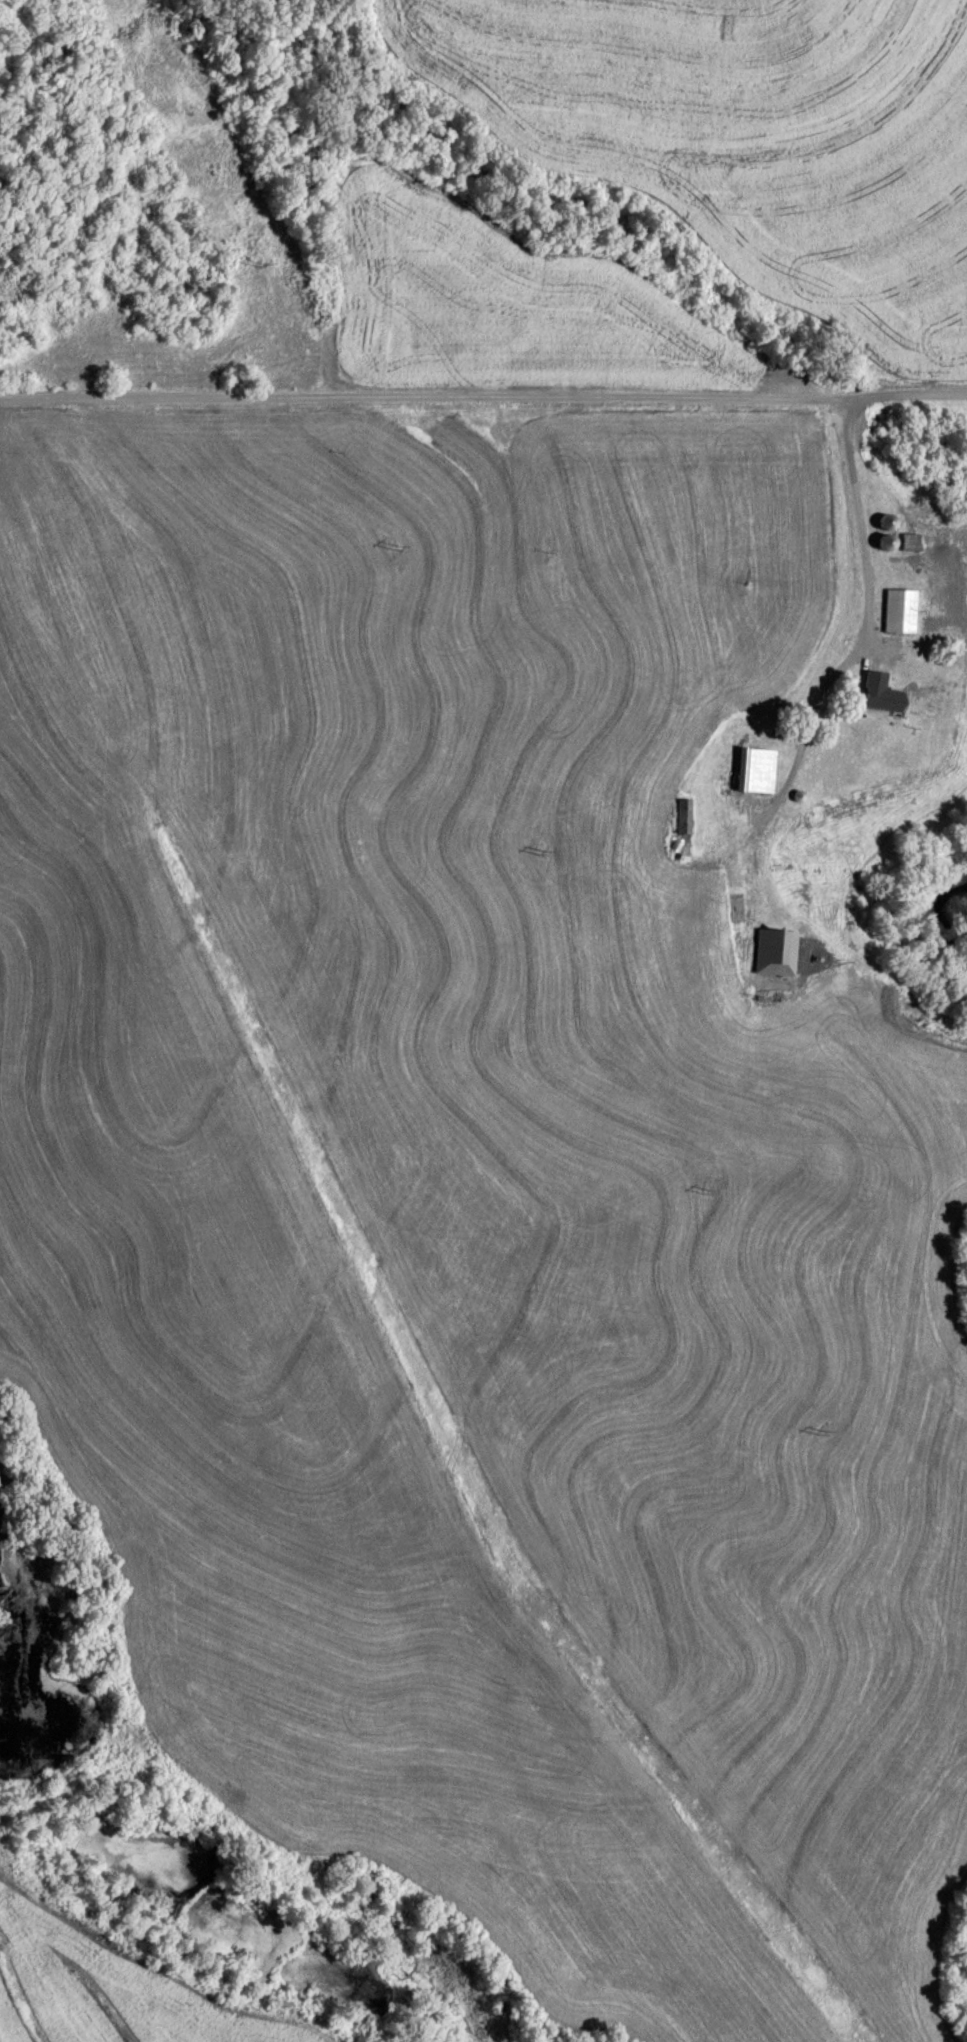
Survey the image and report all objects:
power tower: (260, 261)
road: (483, 392)
building: (883, 519)
building: (883, 538)
building: (907, 539)
power tower: (397, 544)
road: (866, 592)
building: (897, 607)
building: (753, 766)
building: (681, 812)
power tower: (544, 850)
building: (771, 948)
power tower: (707, 1191)
power tower: (825, 1436)

